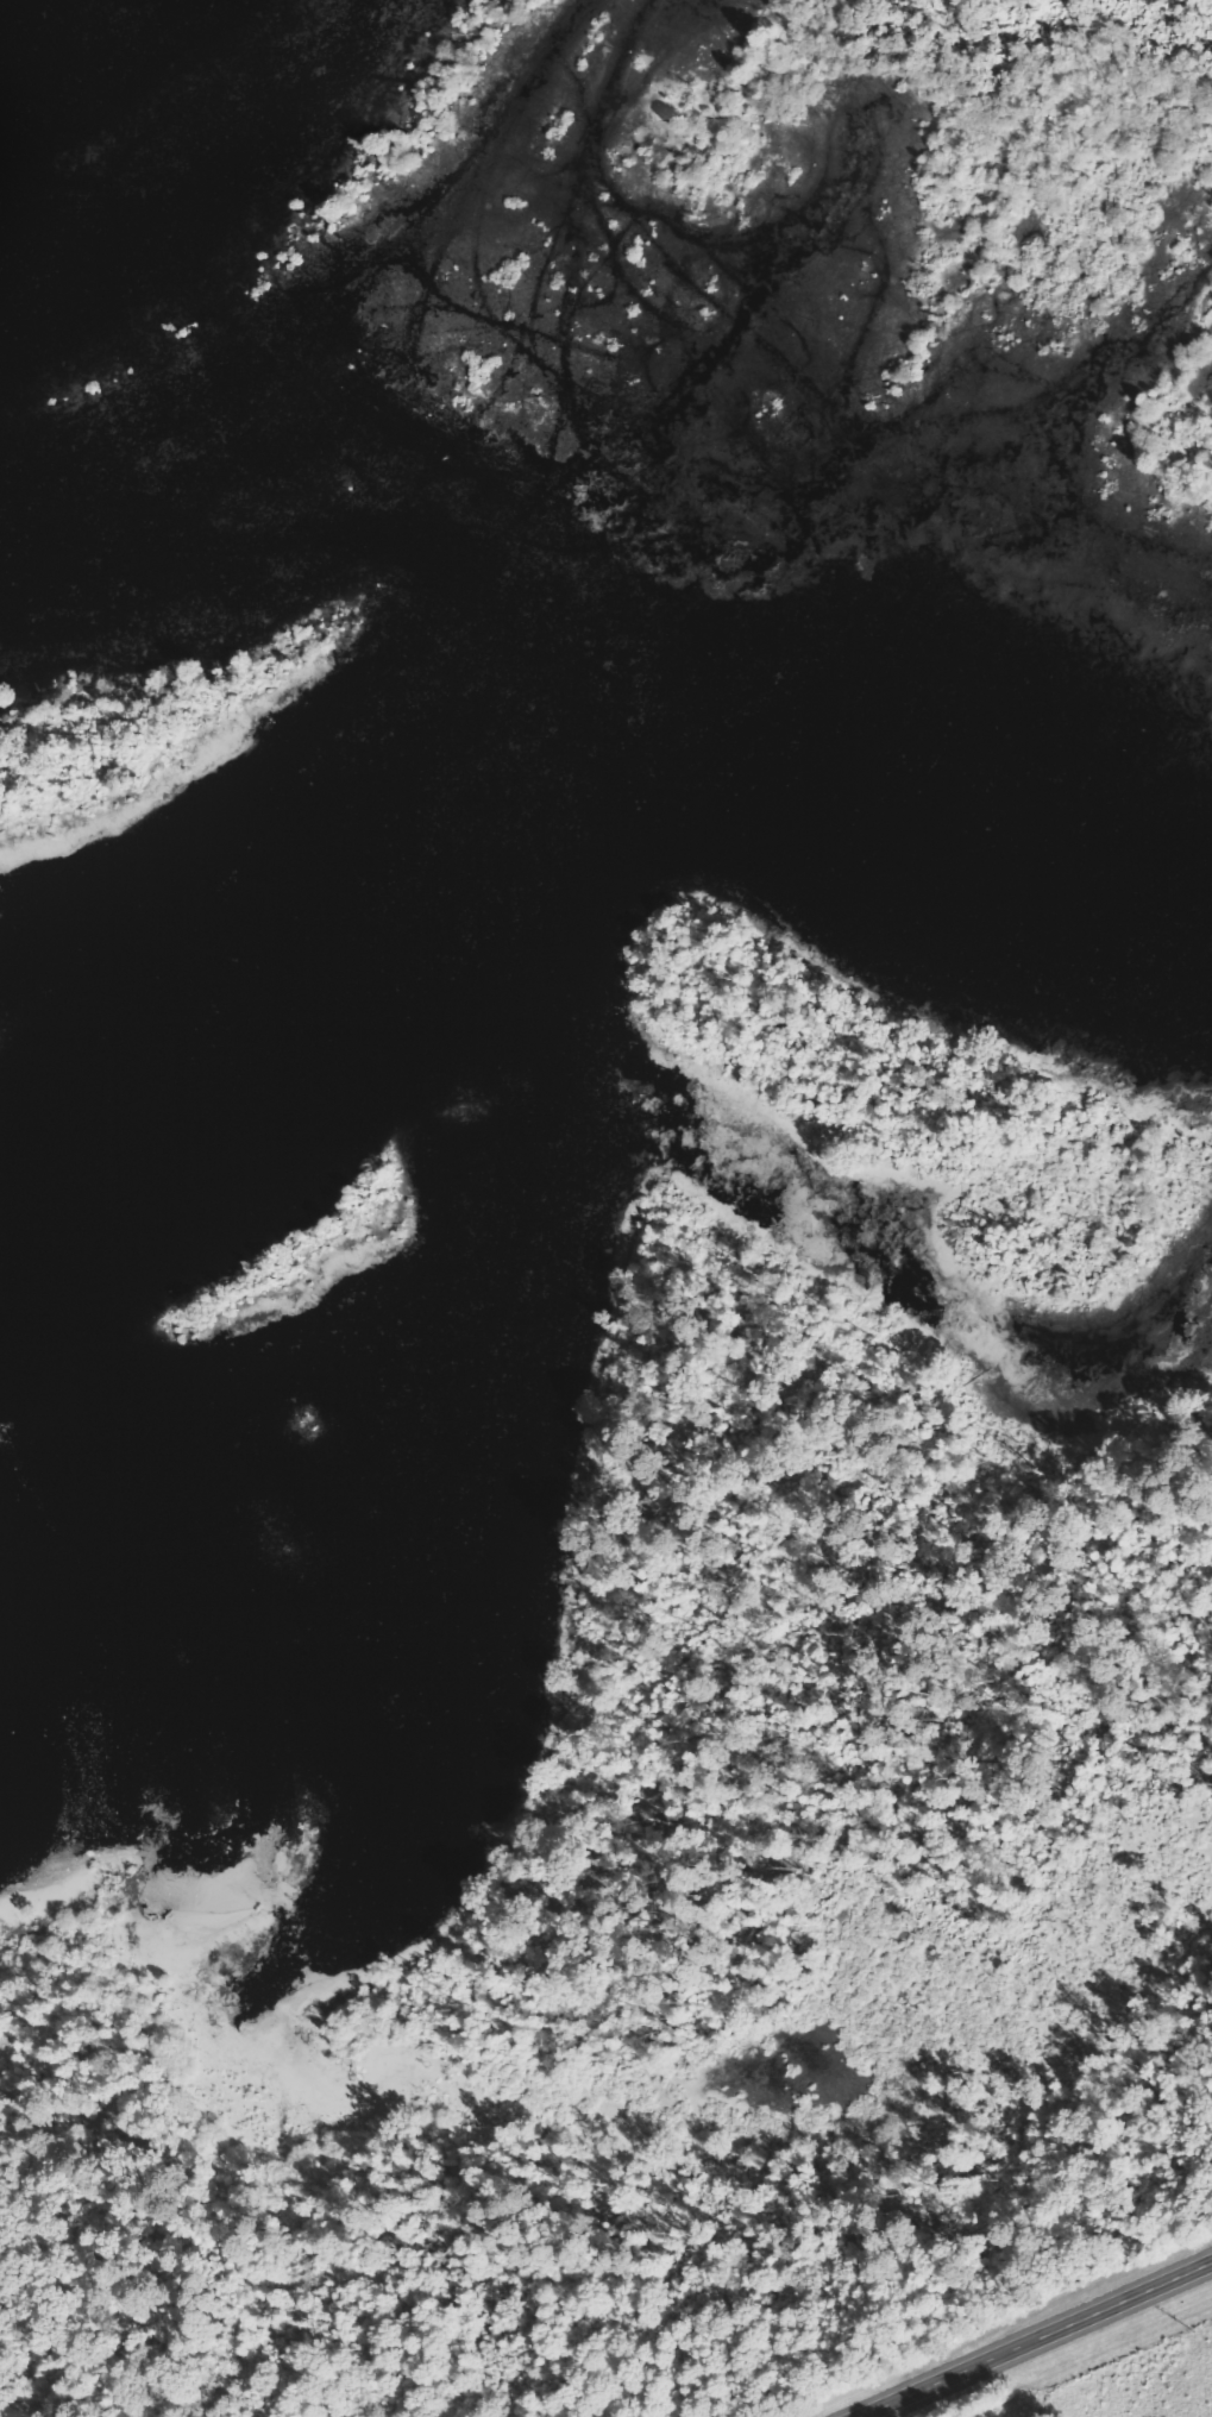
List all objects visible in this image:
road: (1037, 2340)

